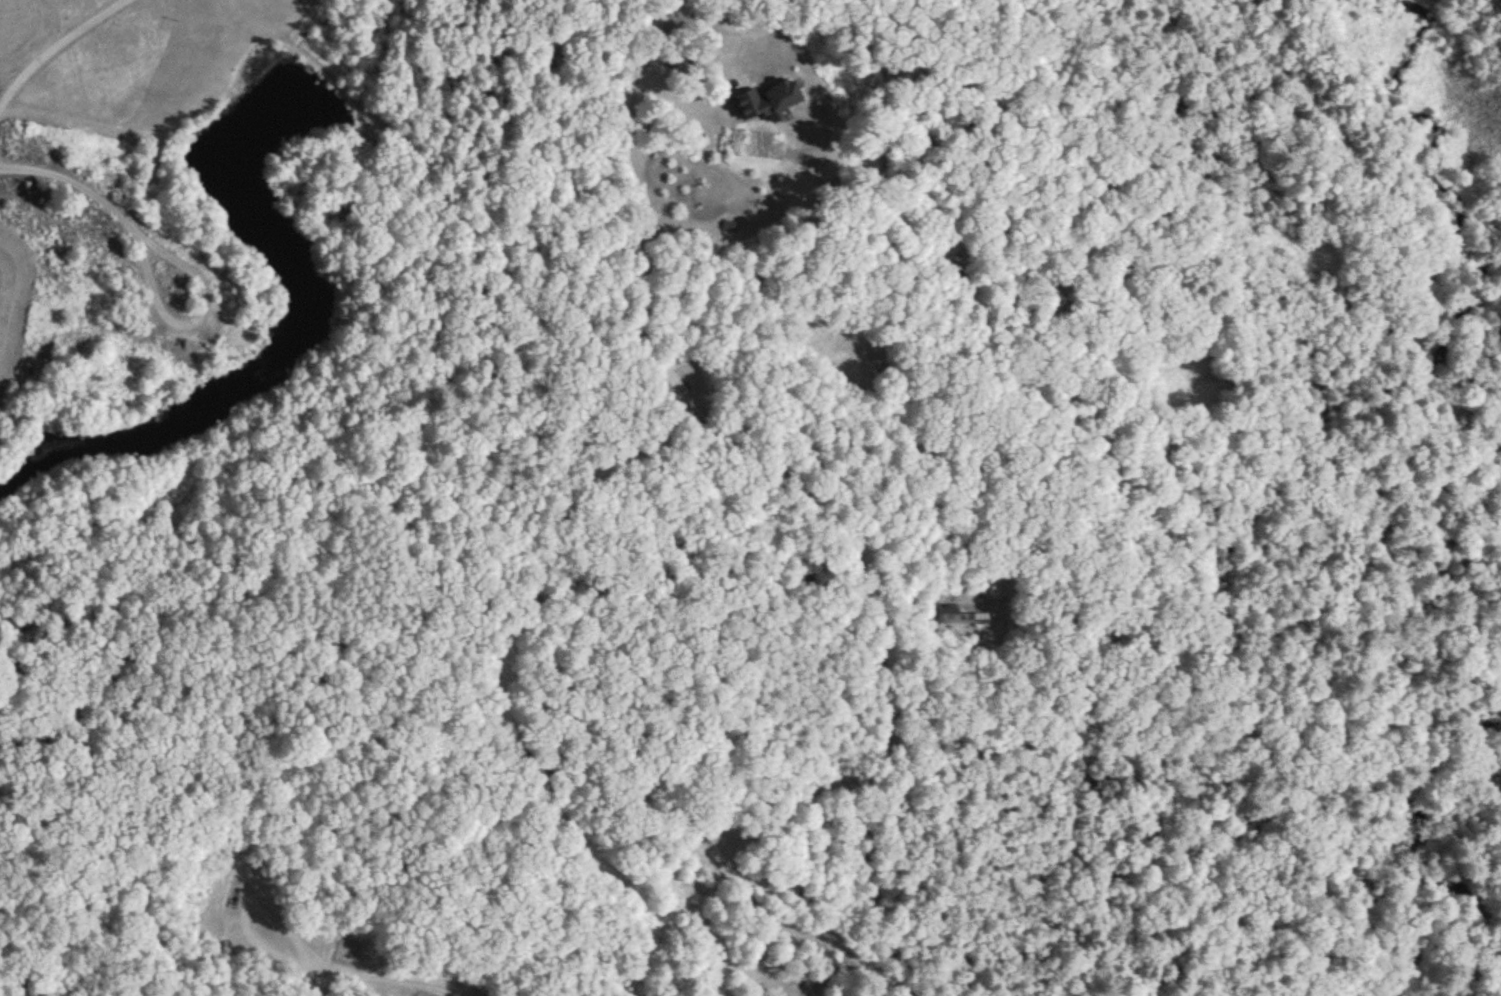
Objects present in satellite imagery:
road: (57, 48)
building: (771, 102)
road: (104, 199)
road: (761, 336)
building: (956, 614)
road: (1371, 707)
road: (317, 755)
road: (756, 846)
road: (1284, 913)

